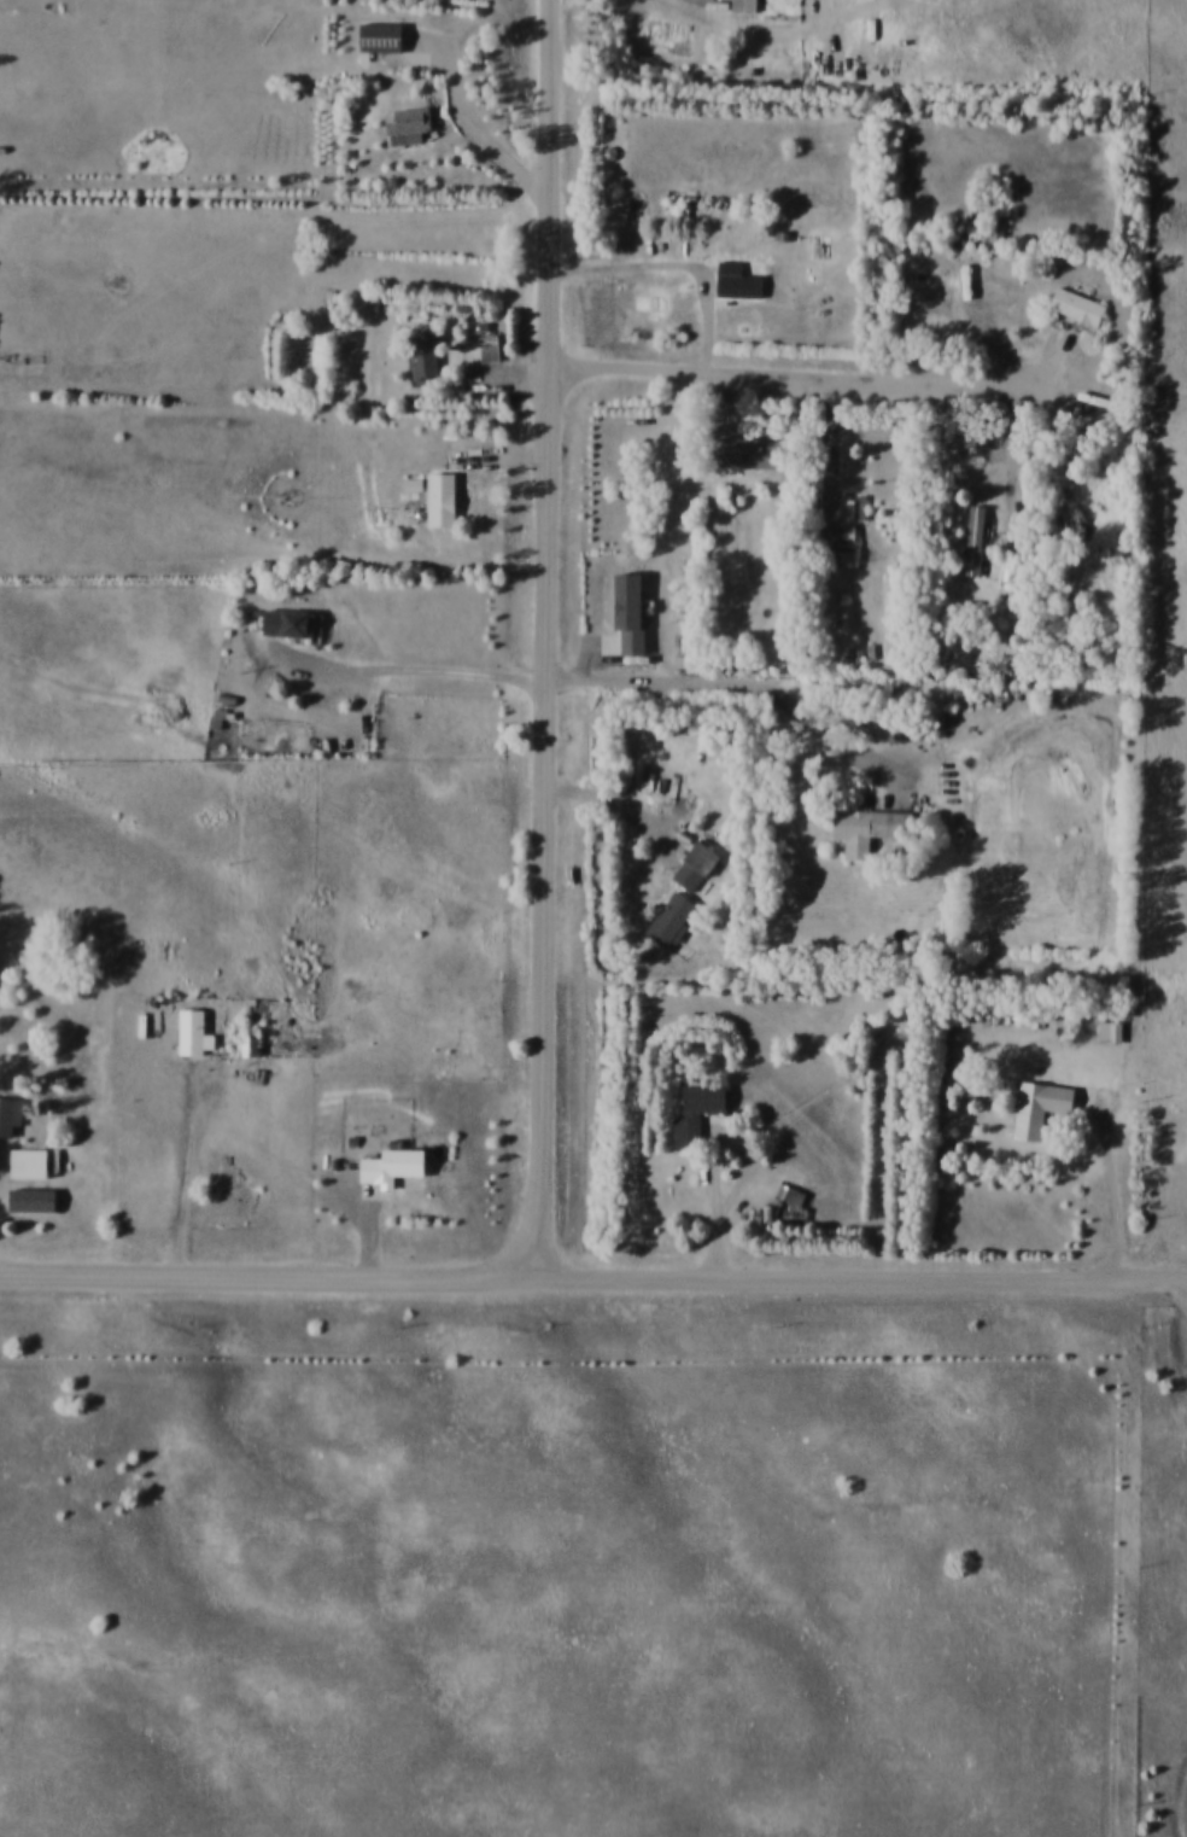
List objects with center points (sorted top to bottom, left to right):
building: (741, 5)
building: (376, 37)
building: (404, 126)
road: (487, 127)
building: (994, 231)
building: (733, 280)
building: (1074, 305)
building: (486, 346)
building: (420, 357)
road: (511, 368)
road: (803, 372)
building: (747, 451)
building: (438, 500)
building: (838, 531)
building: (975, 540)
building: (1046, 596)
building: (622, 616)
building: (285, 624)
building: (1095, 634)
road: (550, 640)
road: (425, 664)
road: (673, 682)
road: (619, 803)
building: (866, 828)
building: (698, 857)
building: (668, 920)
building: (1106, 1031)
building: (189, 1034)
building: (1036, 1107)
building: (692, 1112)
building: (12, 1114)
building: (33, 1162)
building: (390, 1165)
road: (1119, 1179)
road: (189, 1183)
building: (790, 1196)
road: (739, 1197)
building: (35, 1199)
road: (1181, 1270)
road: (1181, 1275)
road: (587, 1278)
road: (1181, 1283)

